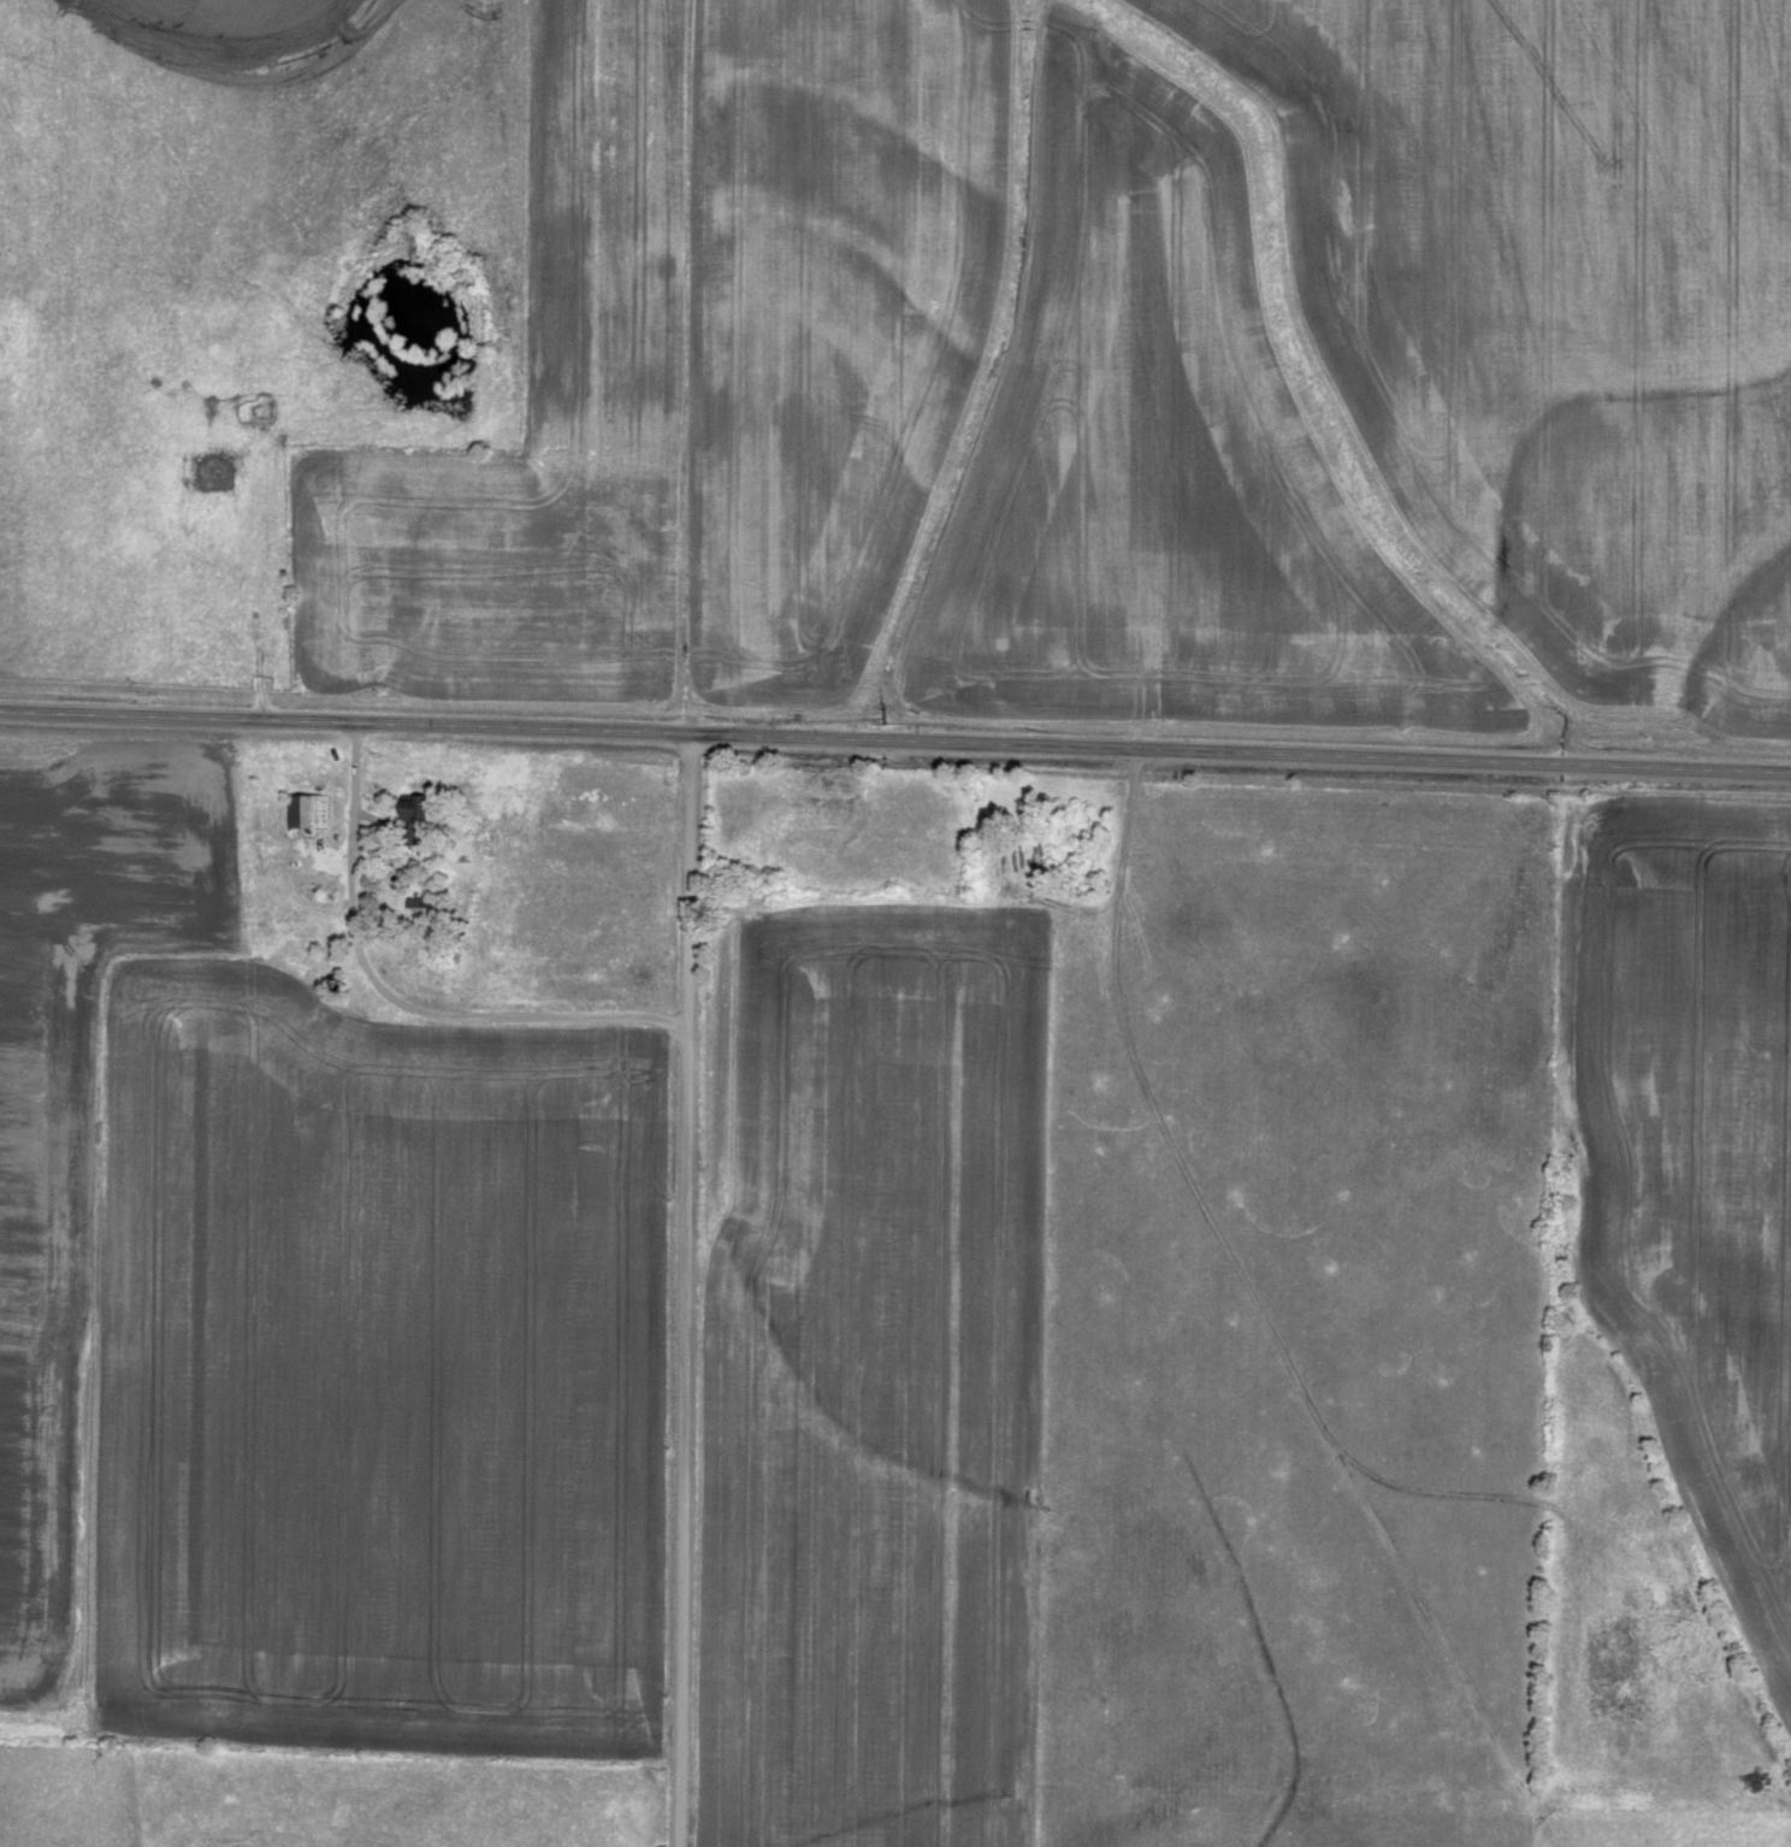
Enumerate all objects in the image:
road: (699, 366)
road: (895, 738)
building: (312, 808)
road: (398, 1002)
road: (686, 1288)

